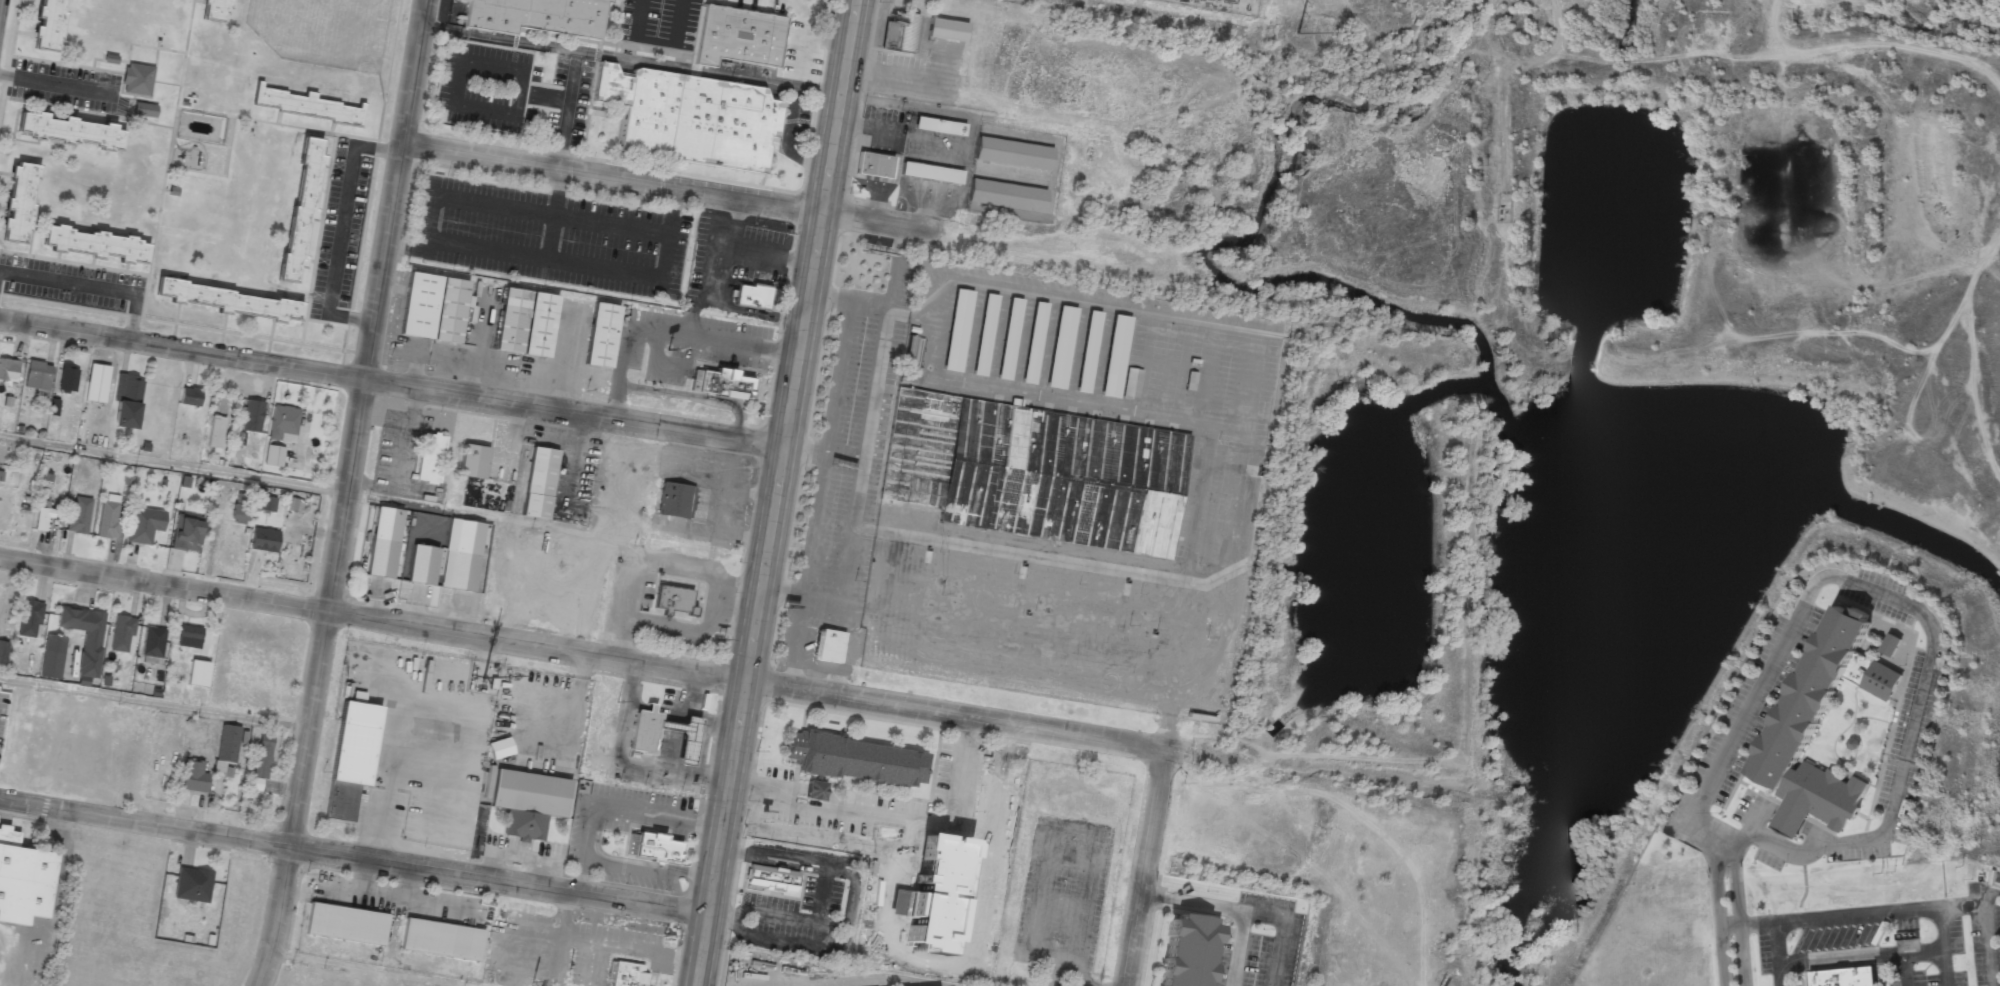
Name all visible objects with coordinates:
building: (212, 10)
building: (539, 17)
building: (48, 25)
building: (946, 30)
power tower: (1295, 33)
building: (752, 34)
building: (900, 34)
building: (136, 79)
building: (305, 106)
building: (144, 109)
building: (689, 118)
building: (938, 127)
building: (69, 132)
building: (1011, 153)
building: (872, 166)
building: (929, 173)
road: (677, 187)
building: (1005, 196)
building: (19, 203)
building: (300, 209)
building: (94, 245)
building: (751, 296)
building: (227, 301)
building: (432, 308)
building: (524, 323)
building: (956, 330)
building: (600, 335)
building: (983, 335)
building: (1008, 338)
building: (1032, 342)
building: (1059, 347)
building: (1087, 351)
building: (1114, 356)
building: (8, 369)
building: (38, 378)
building: (68, 378)
building: (96, 383)
road: (391, 384)
building: (722, 384)
building: (1131, 384)
building: (189, 396)
building: (127, 401)
building: (53, 407)
building: (252, 415)
building: (283, 423)
building: (215, 432)
building: (273, 456)
building: (429, 458)
building: (471, 461)
road: (171, 465)
building: (1033, 472)
building: (1, 475)
building: (538, 483)
road: (775, 492)
road: (342, 493)
building: (672, 501)
building: (267, 503)
building: (295, 505)
building: (240, 507)
building: (43, 515)
building: (79, 515)
building: (108, 517)
building: (144, 524)
building: (186, 532)
building: (264, 539)
building: (380, 558)
building: (421, 565)
building: (457, 571)
building: (672, 599)
building: (29, 617)
building: (122, 633)
building: (189, 636)
building: (85, 637)
building: (1890, 644)
building: (152, 645)
building: (828, 646)
building: (3, 651)
building: (51, 665)
road: (639, 665)
building: (198, 673)
road: (153, 703)
building: (1794, 730)
building: (642, 742)
building: (1853, 743)
building: (499, 748)
building: (226, 749)
building: (261, 760)
building: (350, 760)
building: (855, 760)
building: (193, 776)
building: (814, 790)
building: (527, 802)
building: (653, 848)
road: (353, 858)
road: (1140, 875)
building: (770, 878)
building: (22, 880)
building: (192, 885)
parking lot: (1062, 892)
road: (1736, 920)
building: (345, 924)
building: (440, 940)
road: (1945, 950)
building: (1185, 951)
road: (1777, 956)
building: (621, 974)
building: (1848, 980)
road: (1054, 982)

